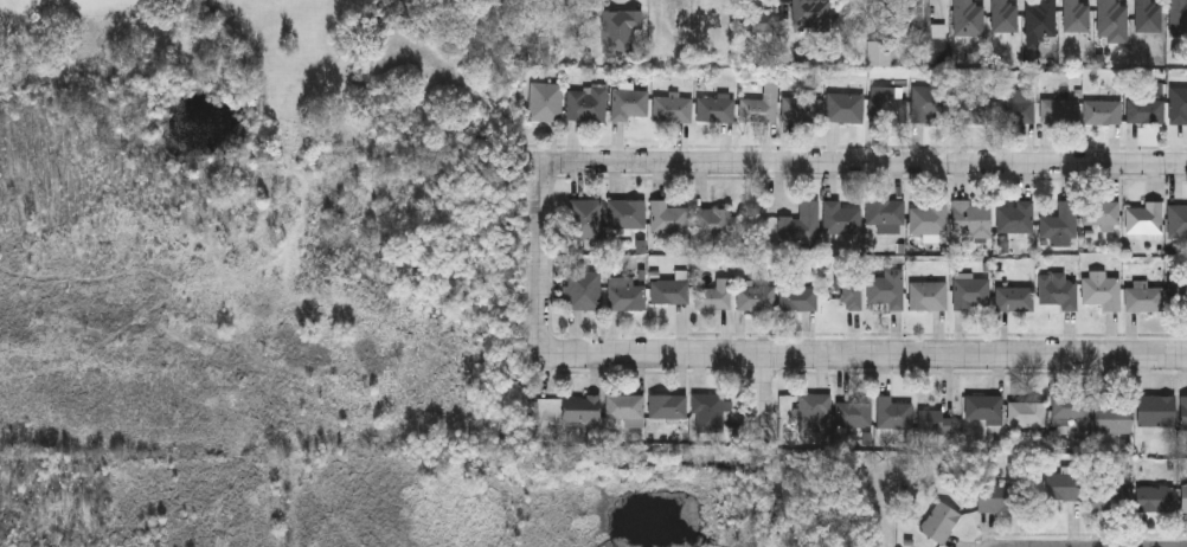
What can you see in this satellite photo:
building: (810, 14)
building: (854, 14)
building: (1005, 15)
building: (1076, 15)
building: (1148, 15)
building: (1041, 17)
building: (1112, 17)
building: (1179, 17)
building: (969, 18)
building: (758, 20)
building: (887, 25)
building: (621, 31)
building: (926, 33)
building: (546, 101)
building: (588, 103)
building: (630, 103)
building: (888, 104)
building: (931, 104)
building: (1179, 104)
building: (846, 107)
building: (673, 108)
building: (717, 108)
building: (762, 108)
building: (974, 108)
building: (803, 109)
building: (1016, 110)
building: (1060, 110)
building: (1146, 110)
building: (1103, 111)
road: (879, 161)
building: (625, 212)
building: (1102, 212)
building: (886, 213)
building: (668, 215)
building: (586, 217)
building: (842, 217)
building: (930, 217)
building: (1016, 217)
building: (971, 218)
building: (1146, 218)
building: (1178, 219)
building: (713, 220)
building: (802, 223)
building: (1060, 224)
road: (546, 242)
building: (887, 288)
building: (584, 289)
building: (1102, 289)
building: (671, 290)
building: (852, 291)
building: (625, 292)
building: (974, 292)
building: (1179, 292)
building: (714, 294)
building: (930, 294)
building: (1060, 295)
building: (757, 296)
building: (801, 297)
building: (1015, 297)
building: (1146, 297)
road: (861, 353)
road: (765, 395)
building: (667, 405)
building: (625, 407)
building: (984, 407)
building: (1069, 407)
building: (580, 408)
building: (1156, 408)
building: (815, 410)
building: (893, 411)
building: (1185, 411)
building: (710, 412)
building: (854, 412)
building: (1027, 412)
building: (1114, 413)
building: (933, 420)
building: (1064, 484)
building: (997, 496)
building: (1110, 496)
building: (1155, 497)
building: (1185, 497)
building: (941, 521)

